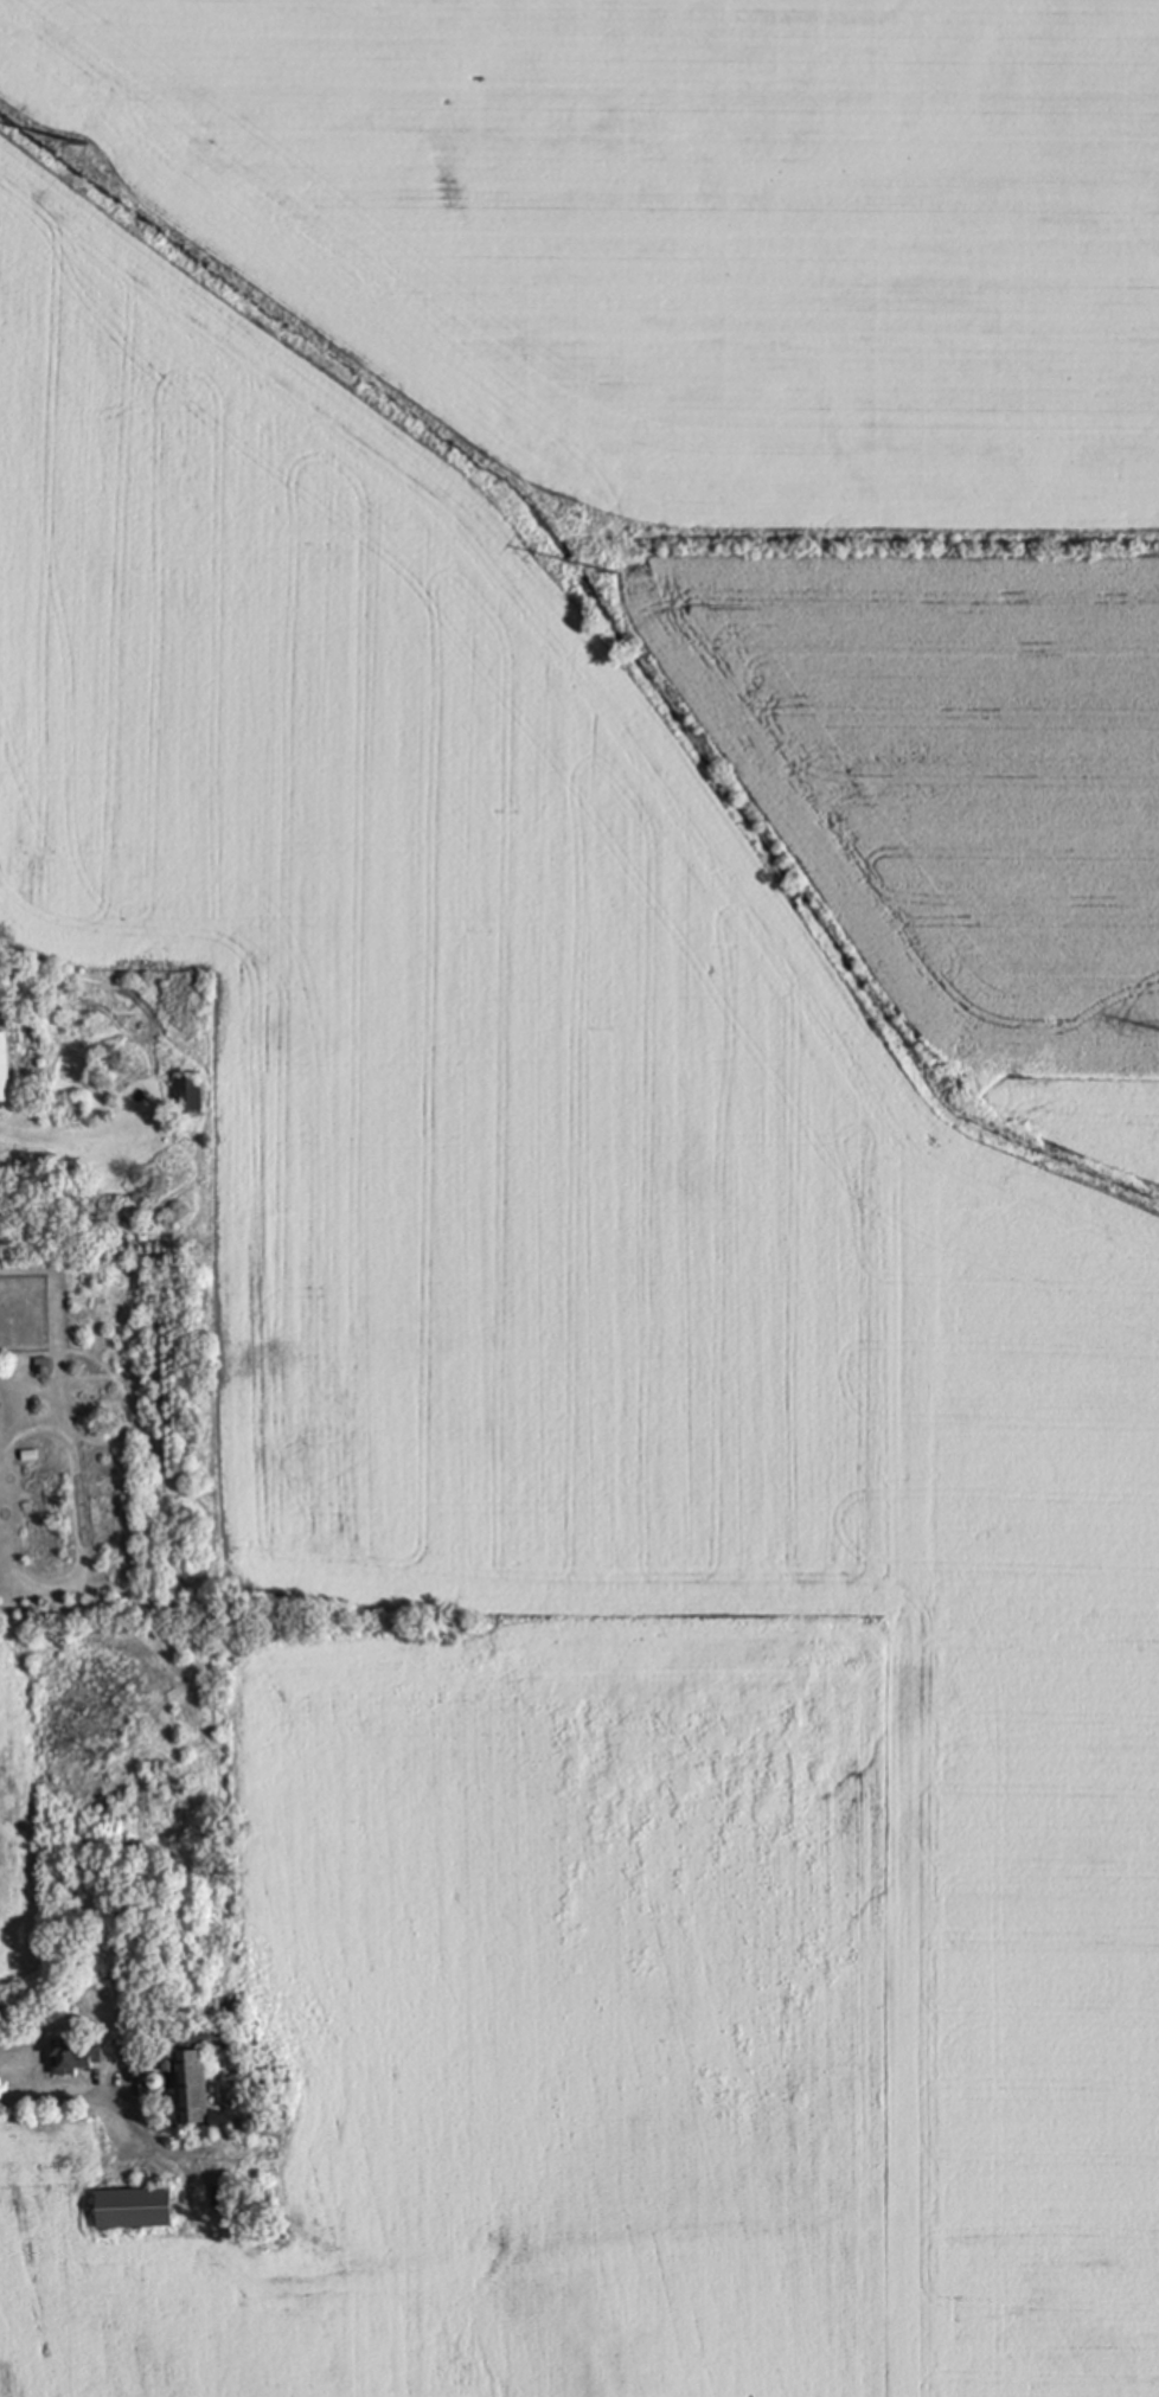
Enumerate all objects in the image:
power tower: (87, 147)
building: (5, 1063)
building: (188, 1095)
building: (75, 2056)
building: (197, 2068)
road: (63, 2100)
building: (134, 2209)

